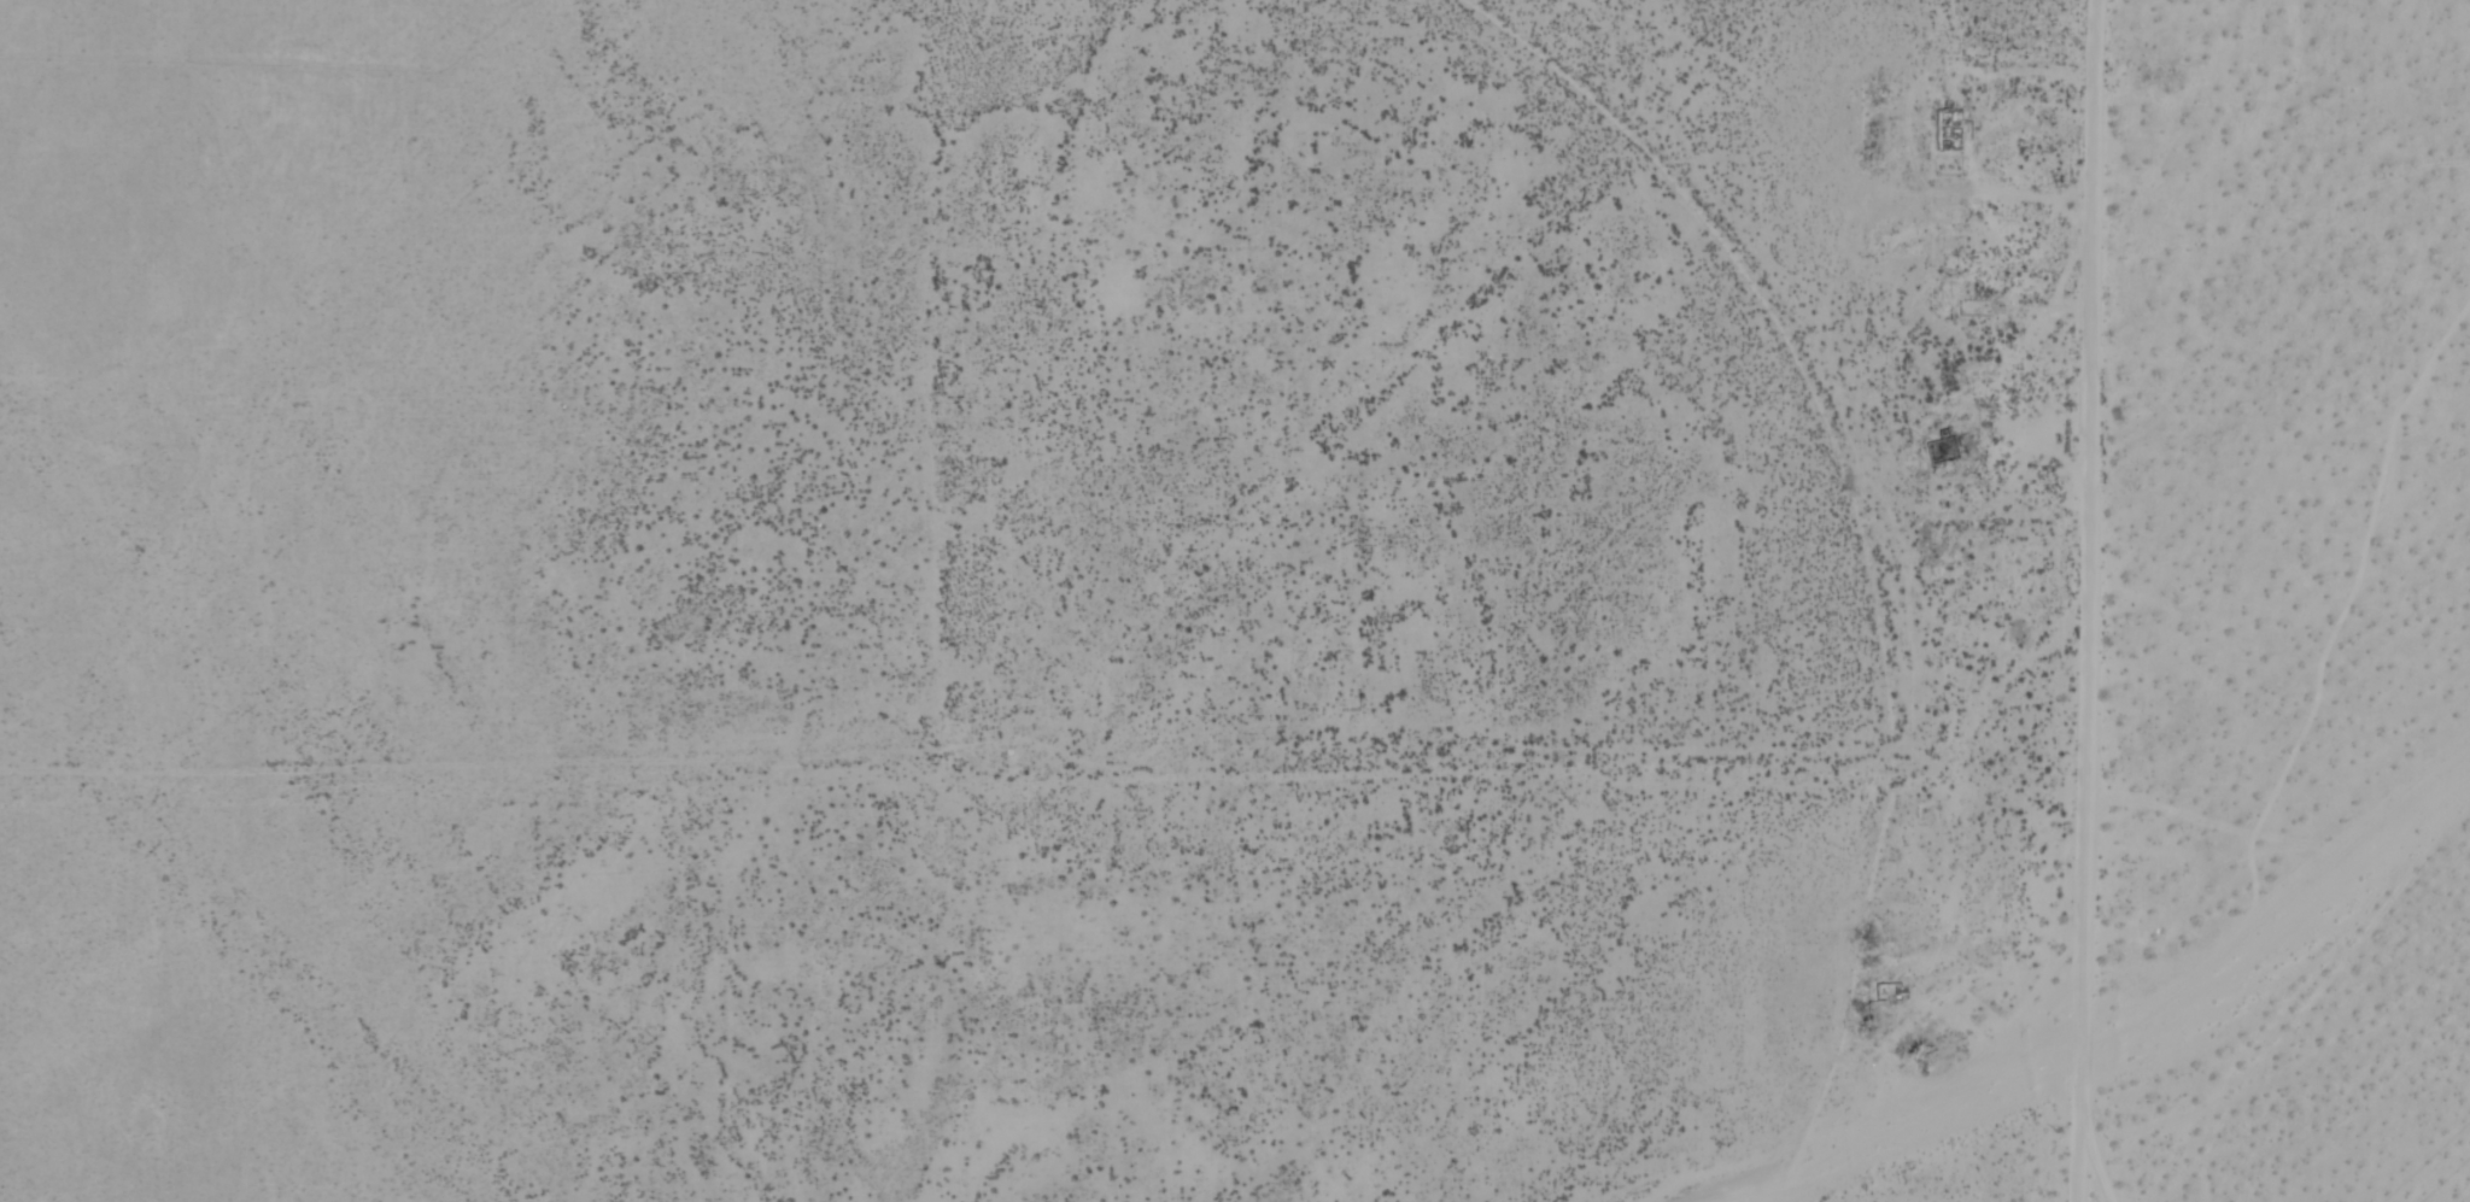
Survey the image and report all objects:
road: (2089, 599)
road: (2099, 1175)

